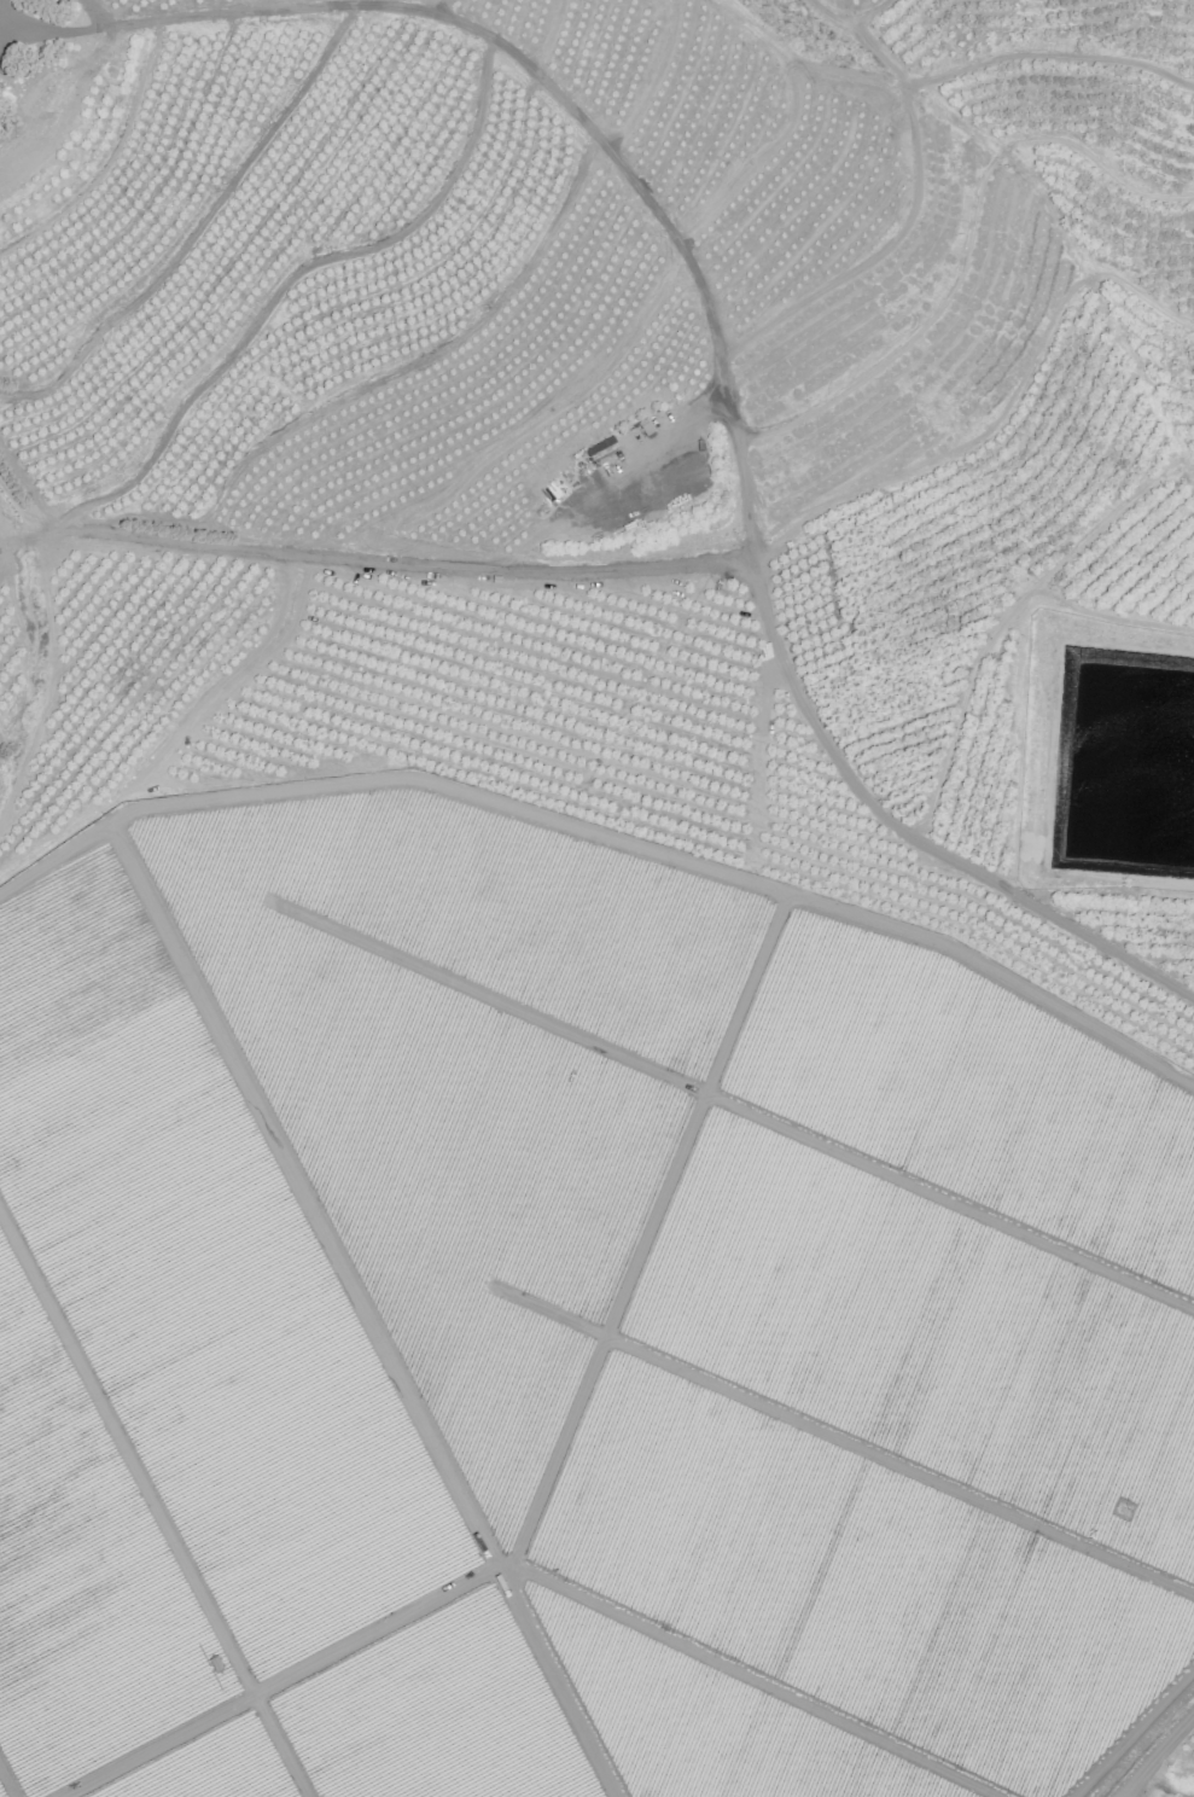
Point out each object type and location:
road: (246, 5)
road: (444, 8)
road: (867, 12)
road: (87, 14)
road: (980, 62)
road: (654, 81)
road: (756, 156)
road: (109, 158)
road: (918, 170)
road: (196, 229)
road: (967, 244)
road: (290, 281)
road: (717, 357)
road: (383, 378)
road: (541, 417)
road: (1002, 421)
road: (13, 512)
road: (28, 535)
road: (8, 548)
road: (403, 565)
road: (1109, 617)
road: (997, 628)
road: (1018, 746)
road: (759, 760)
road: (606, 836)
crop: (462, 1071)
crop: (971, 1093)
road: (732, 1105)
road: (647, 1229)
crop: (200, 1283)
road: (362, 1308)
crop: (927, 1338)
road: (834, 1436)
road: (153, 1506)
crop: (82, 1576)
crop: (854, 1581)
road: (747, 1677)
road: (278, 1680)
crop: (435, 1714)
crop: (707, 1721)
road: (1131, 1731)
road: (1157, 1751)
crop: (209, 1767)
road: (7, 1781)
crop: (1, 1792)

